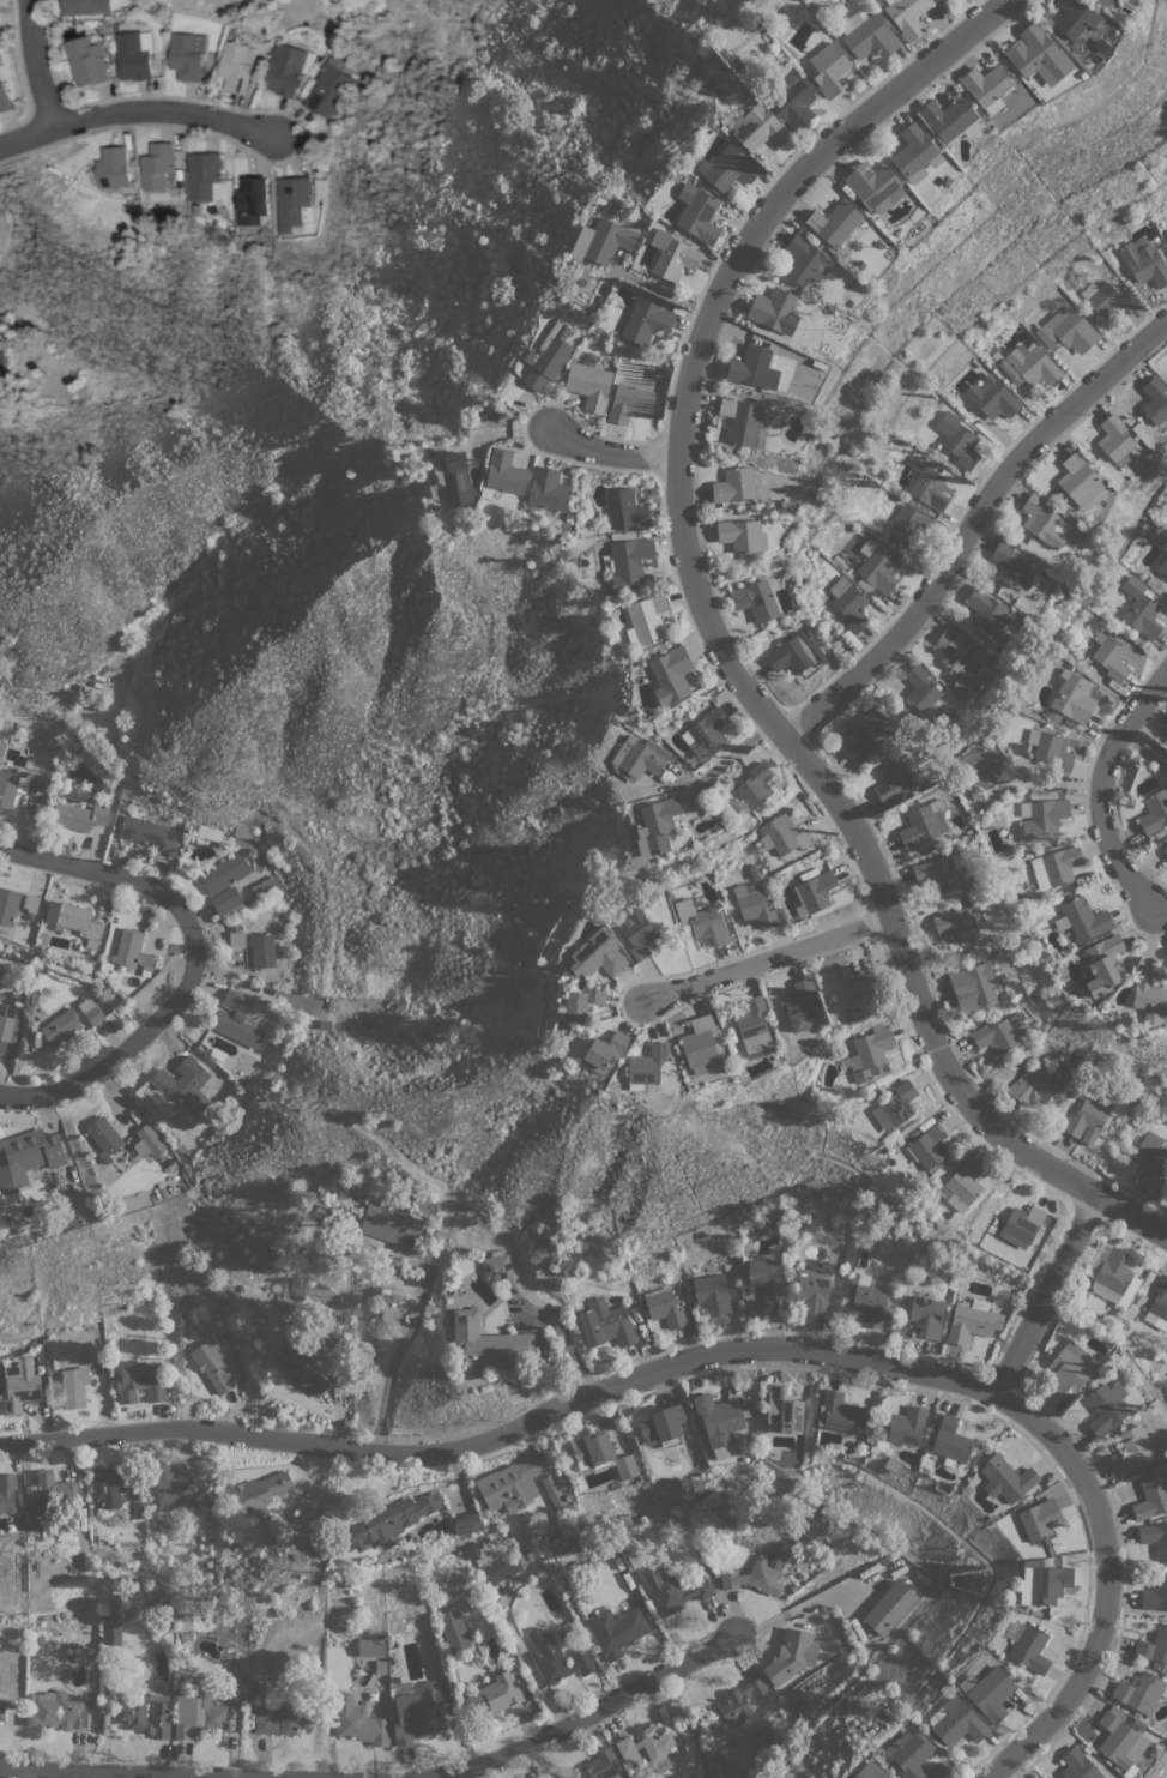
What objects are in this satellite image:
building: (1103, 2)
building: (84, 7)
building: (907, 16)
building: (1076, 17)
building: (867, 35)
building: (132, 54)
building: (185, 55)
building: (1038, 55)
building: (85, 60)
road: (37, 61)
building: (234, 65)
building: (829, 68)
building: (283, 70)
building: (986, 86)
building: (327, 90)
building: (4, 98)
building: (793, 101)
road: (141, 113)
building: (950, 119)
building: (758, 127)
building: (915, 153)
building: (155, 167)
building: (110, 168)
building: (727, 168)
building: (201, 175)
building: (873, 185)
building: (250, 201)
building: (291, 203)
building: (697, 213)
building: (834, 223)
building: (1166, 233)
building: (601, 241)
building: (672, 255)
building: (802, 259)
building: (1144, 261)
road: (647, 284)
building: (1107, 300)
building: (772, 308)
building: (646, 321)
building: (1066, 331)
building: (548, 357)
building: (0, 361)
building: (1033, 364)
building: (749, 366)
building: (1010, 372)
building: (588, 381)
building: (992, 398)
building: (629, 400)
building: (1155, 400)
building: (740, 421)
building: (1114, 439)
building: (959, 440)
road: (619, 450)
building: (503, 474)
building: (454, 480)
building: (1080, 481)
building: (734, 484)
building: (929, 484)
building: (546, 489)
building: (625, 510)
building: (1044, 522)
building: (911, 524)
road: (975, 530)
building: (740, 535)
building: (1165, 547)
building: (630, 562)
building: (1010, 566)
building: (1162, 566)
building: (876, 569)
building: (756, 601)
building: (849, 603)
building: (1141, 609)
building: (985, 610)
building: (648, 619)
road: (719, 639)
building: (794, 653)
building: (1109, 655)
building: (959, 657)
building: (671, 675)
building: (921, 691)
building: (1074, 697)
building: (706, 733)
building: (1165, 734)
building: (864, 735)
building: (1051, 749)
road: (1143, 754)
road: (731, 755)
building: (637, 759)
building: (979, 764)
building: (894, 780)
building: (754, 785)
building: (18, 786)
road: (1101, 789)
building: (1154, 812)
building: (80, 816)
building: (1044, 820)
building: (923, 824)
building: (655, 826)
building: (243, 831)
building: (147, 833)
building: (205, 833)
building: (782, 834)
building: (1165, 850)
building: (1056, 867)
building: (186, 869)
building: (224, 873)
building: (937, 874)
road: (120, 880)
building: (262, 887)
building: (814, 892)
building: (226, 902)
building: (31, 905)
building: (754, 906)
building: (8, 908)
building: (1082, 918)
building: (702, 921)
building: (79, 922)
building: (956, 922)
building: (637, 932)
building: (236, 938)
building: (132, 950)
building: (262, 950)
building: (1166, 956)
building: (599, 957)
road: (769, 964)
building: (1100, 965)
building: (973, 986)
building: (851, 989)
building: (1148, 996)
building: (580, 1003)
building: (799, 1005)
building: (93, 1014)
building: (236, 1019)
building: (752, 1025)
building: (7, 1026)
building: (61, 1026)
building: (999, 1035)
building: (702, 1043)
building: (604, 1049)
building: (870, 1053)
road: (120, 1062)
building: (646, 1066)
building: (1034, 1084)
building: (185, 1085)
building: (895, 1107)
building: (1092, 1116)
building: (104, 1138)
building: (147, 1141)
building: (929, 1146)
building: (1151, 1155)
building: (26, 1158)
building: (75, 1185)
building: (963, 1185)
building: (388, 1223)
building: (1021, 1225)
building: (496, 1266)
building: (1112, 1273)
building: (767, 1277)
building: (814, 1290)
building: (712, 1292)
road: (1048, 1295)
building: (869, 1301)
building: (1160, 1302)
building: (664, 1307)
building: (926, 1315)
building: (973, 1321)
building: (605, 1325)
road: (561, 1333)
building: (486, 1344)
road: (397, 1349)
building: (92, 1352)
road: (725, 1356)
building: (211, 1364)
building: (302, 1369)
building: (1070, 1369)
building: (139, 1382)
building: (19, 1384)
building: (73, 1387)
building: (1106, 1406)
building: (784, 1410)
building: (840, 1414)
building: (719, 1421)
building: (661, 1426)
building: (907, 1427)
building: (950, 1440)
building: (594, 1448)
building: (1132, 1451)
building: (625, 1466)
building: (1005, 1478)
building: (170, 1482)
building: (512, 1483)
building: (109, 1487)
building: (55, 1489)
building: (7, 1493)
building: (260, 1493)
building: (1151, 1496)
building: (134, 1509)
building: (389, 1519)
building: (1040, 1519)
building: (466, 1523)
building: (1155, 1538)
building: (569, 1543)
building: (500, 1566)
building: (757, 1573)
building: (1044, 1583)
building: (675, 1589)
building: (1155, 1595)
building: (473, 1596)
building: (890, 1608)
building: (616, 1629)
building: (454, 1631)
building: (111, 1633)
building: (1154, 1645)
building: (370, 1647)
building: (1030, 1649)
building: (791, 1655)
building: (556, 1657)
building: (280, 1665)
building: (987, 1690)
building: (1141, 1692)
building: (494, 1696)
building: (740, 1700)
building: (56, 1710)
building: (1, 1711)
building: (199, 1712)
building: (418, 1713)
road: (593, 1714)
building: (145, 1716)
building: (282, 1720)
building: (359, 1722)
building: (956, 1724)
building: (1119, 1740)
building: (648, 1749)
building: (908, 1754)
building: (601, 1765)
building: (1077, 1765)
building: (870, 1771)
road: (68, 1776)

